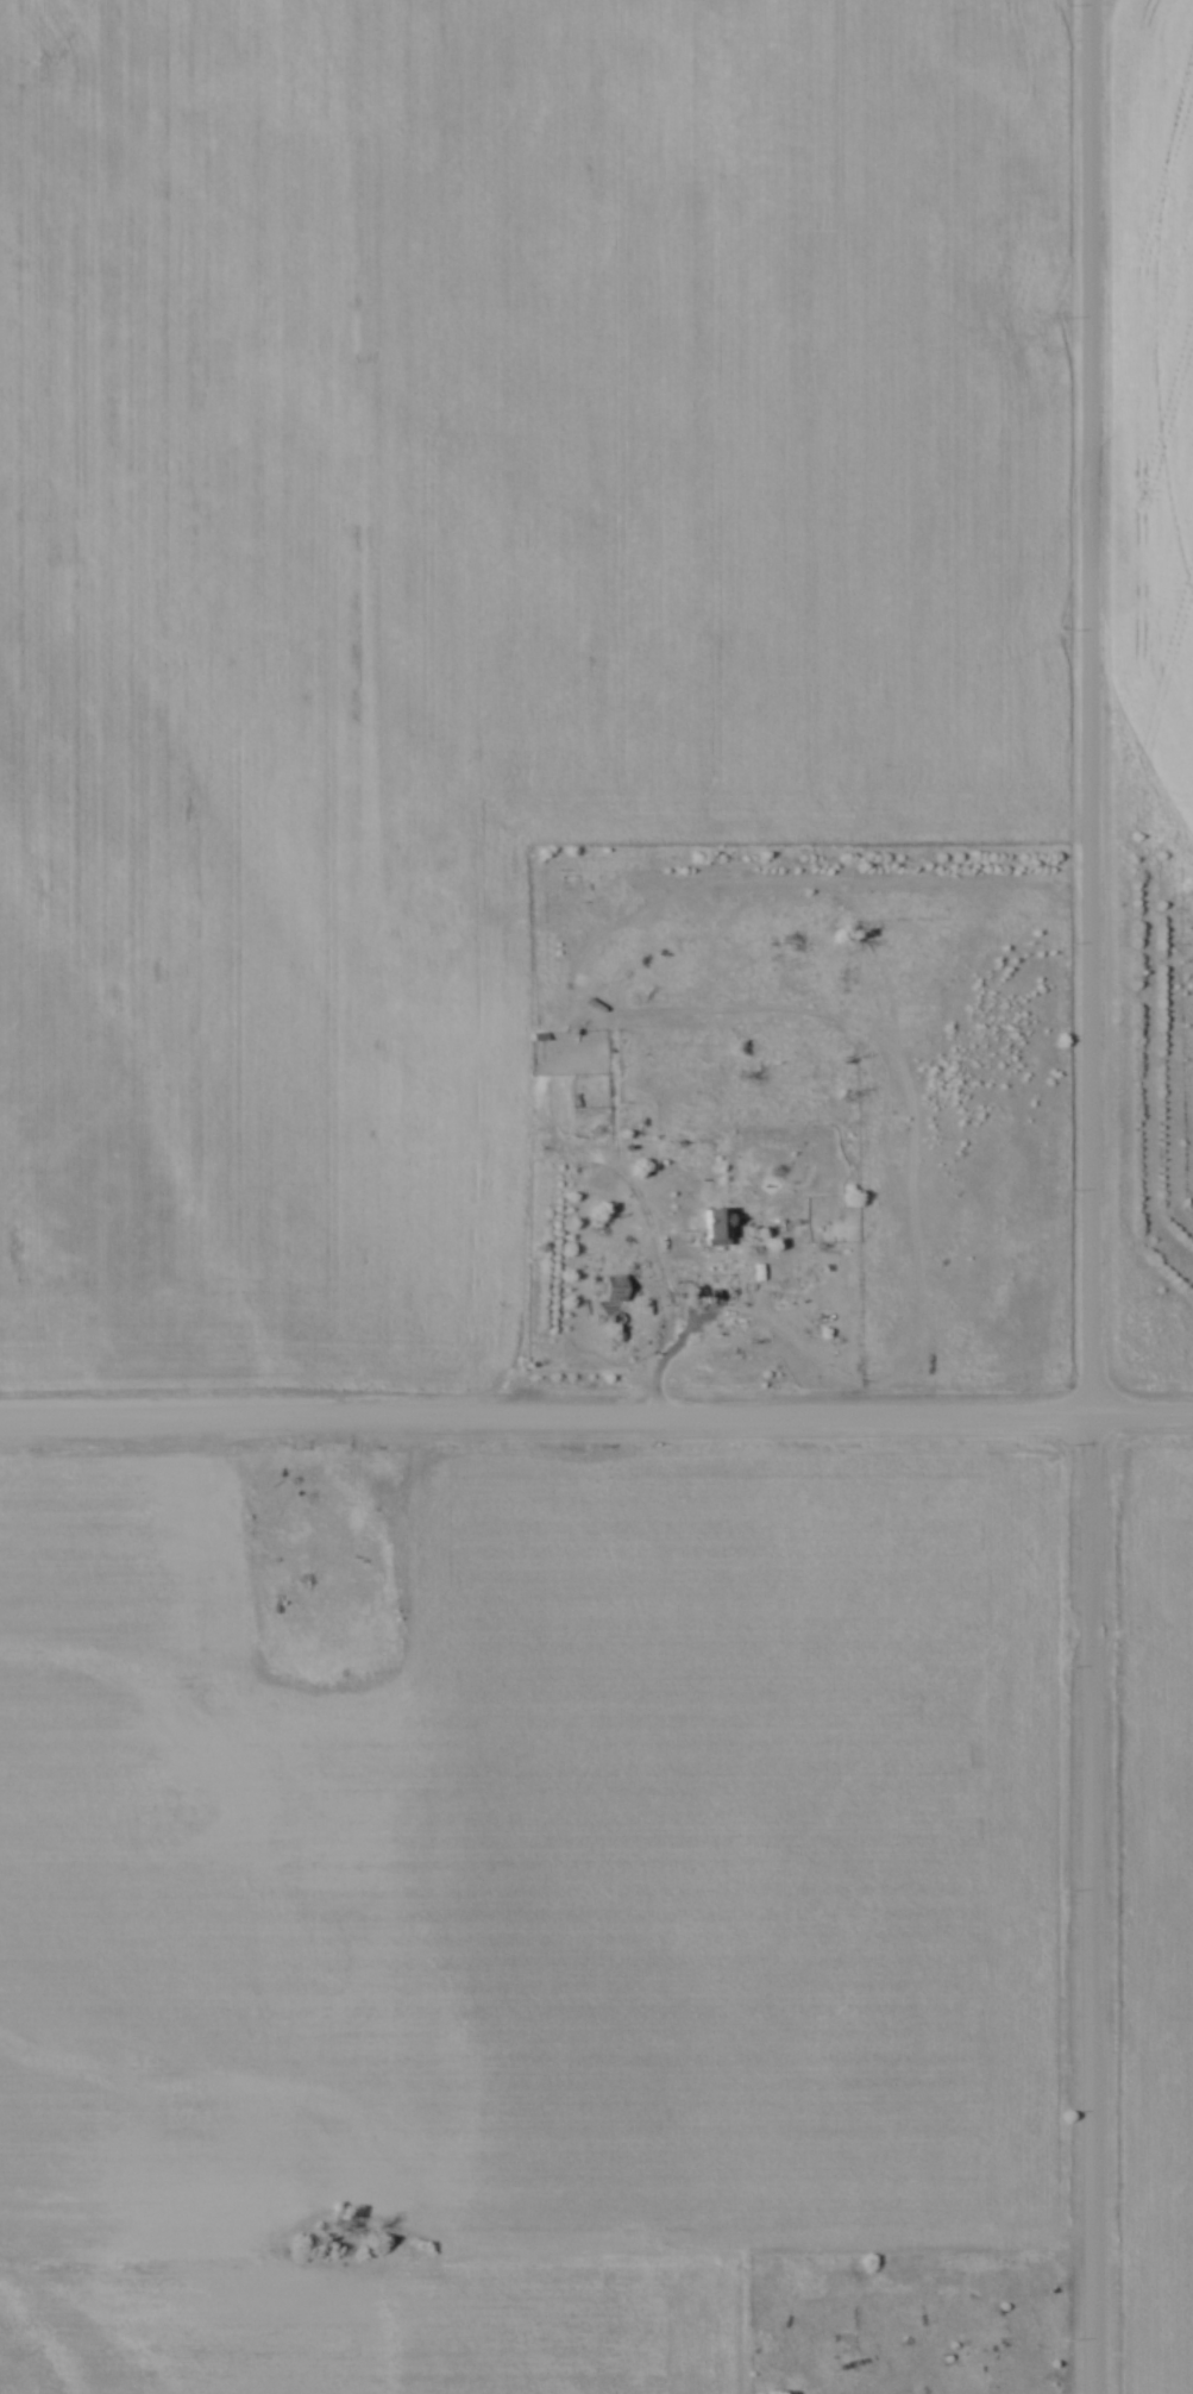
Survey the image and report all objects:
road: (1092, 1197)
building: (721, 1229)
building: (617, 1290)
road: (663, 1292)
road: (596, 1416)

